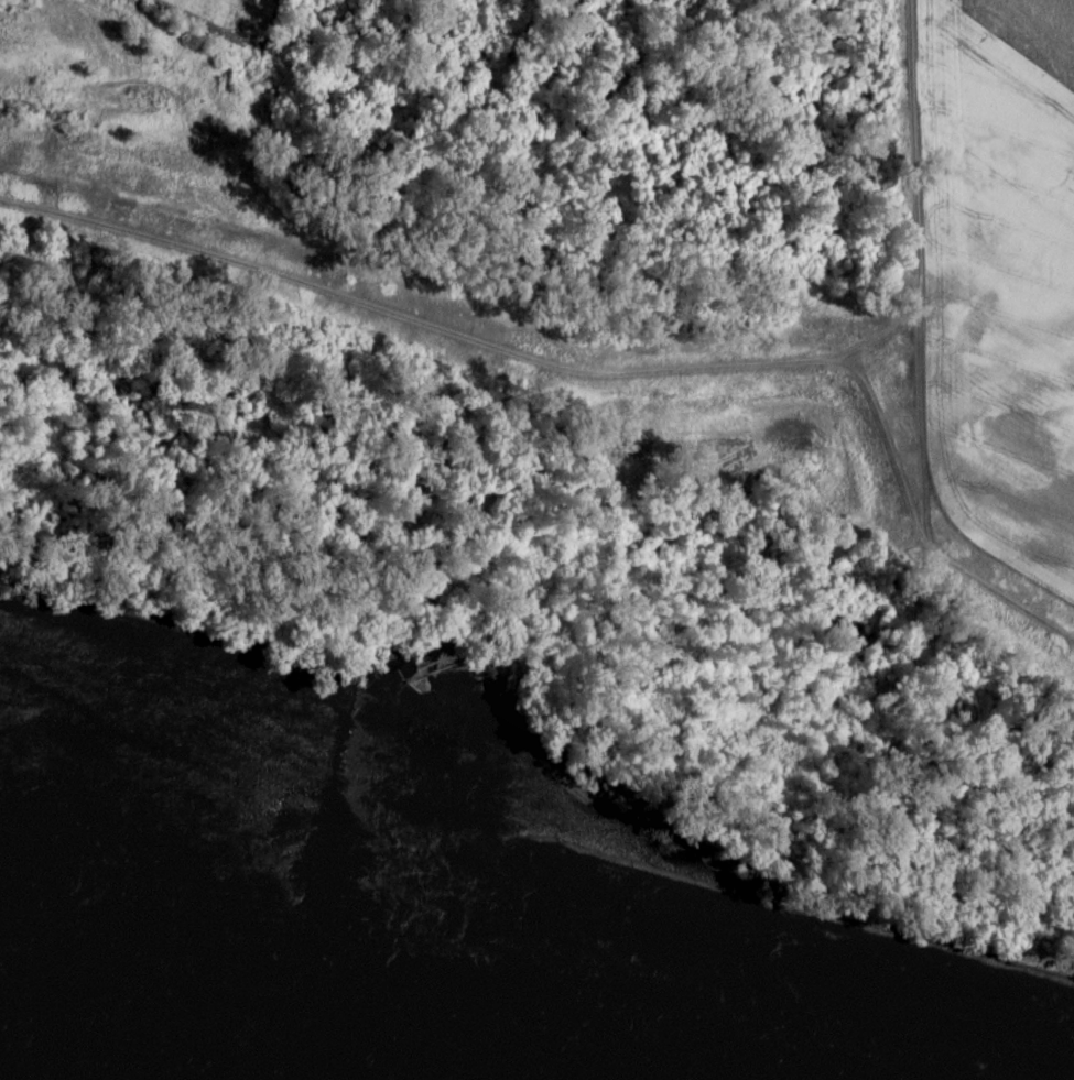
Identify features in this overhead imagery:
road: (918, 258)
road: (596, 373)

